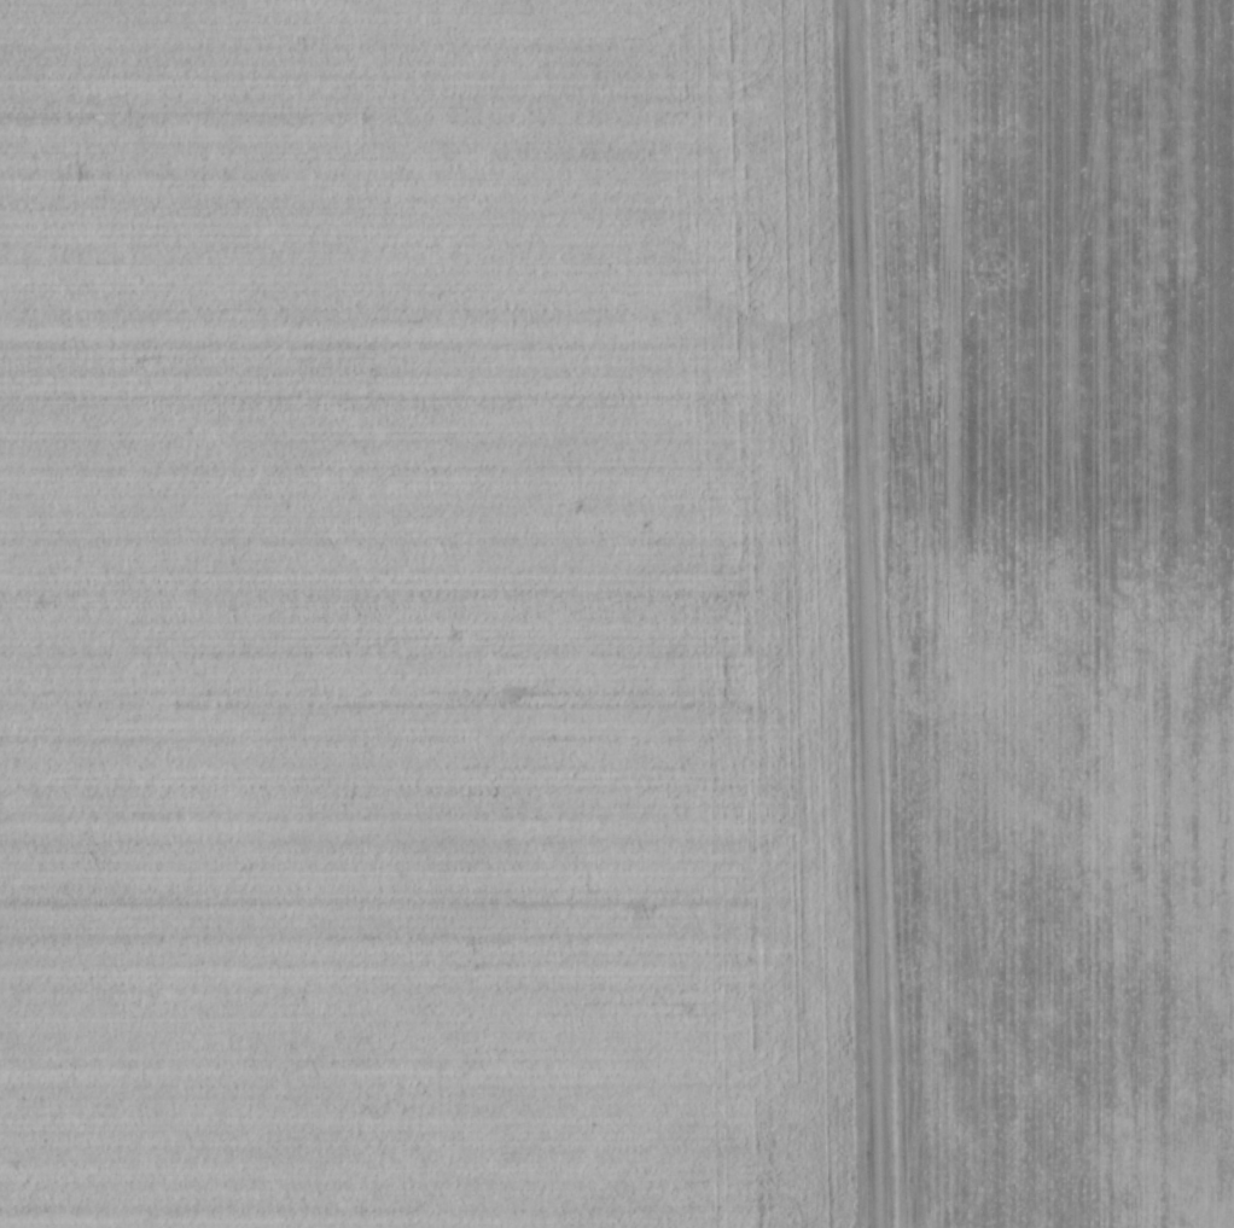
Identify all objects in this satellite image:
crop: (1055, 606)
road: (857, 613)
crop: (415, 617)

